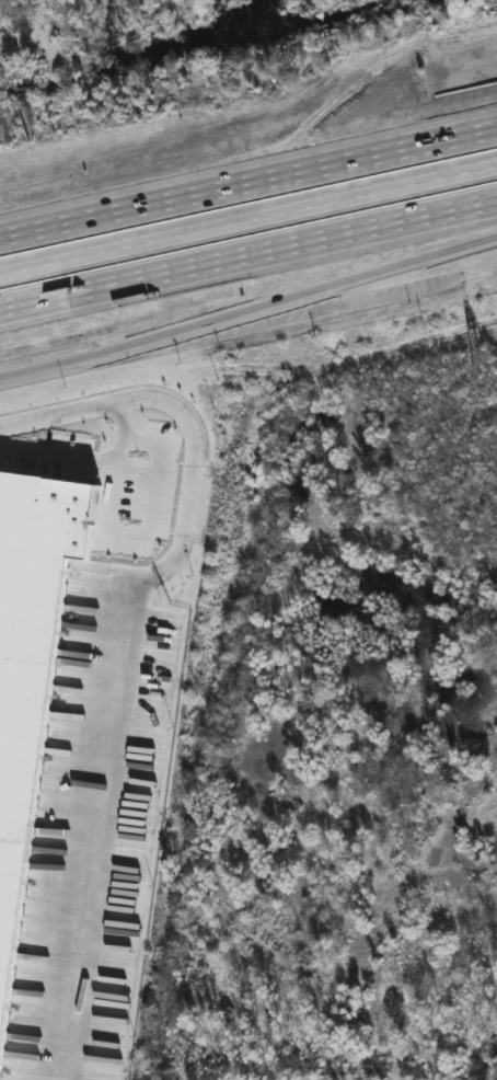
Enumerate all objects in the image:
road: (248, 182)
road: (248, 220)
road: (248, 253)
road: (248, 308)
road: (71, 461)
road: (120, 533)
road: (129, 637)

